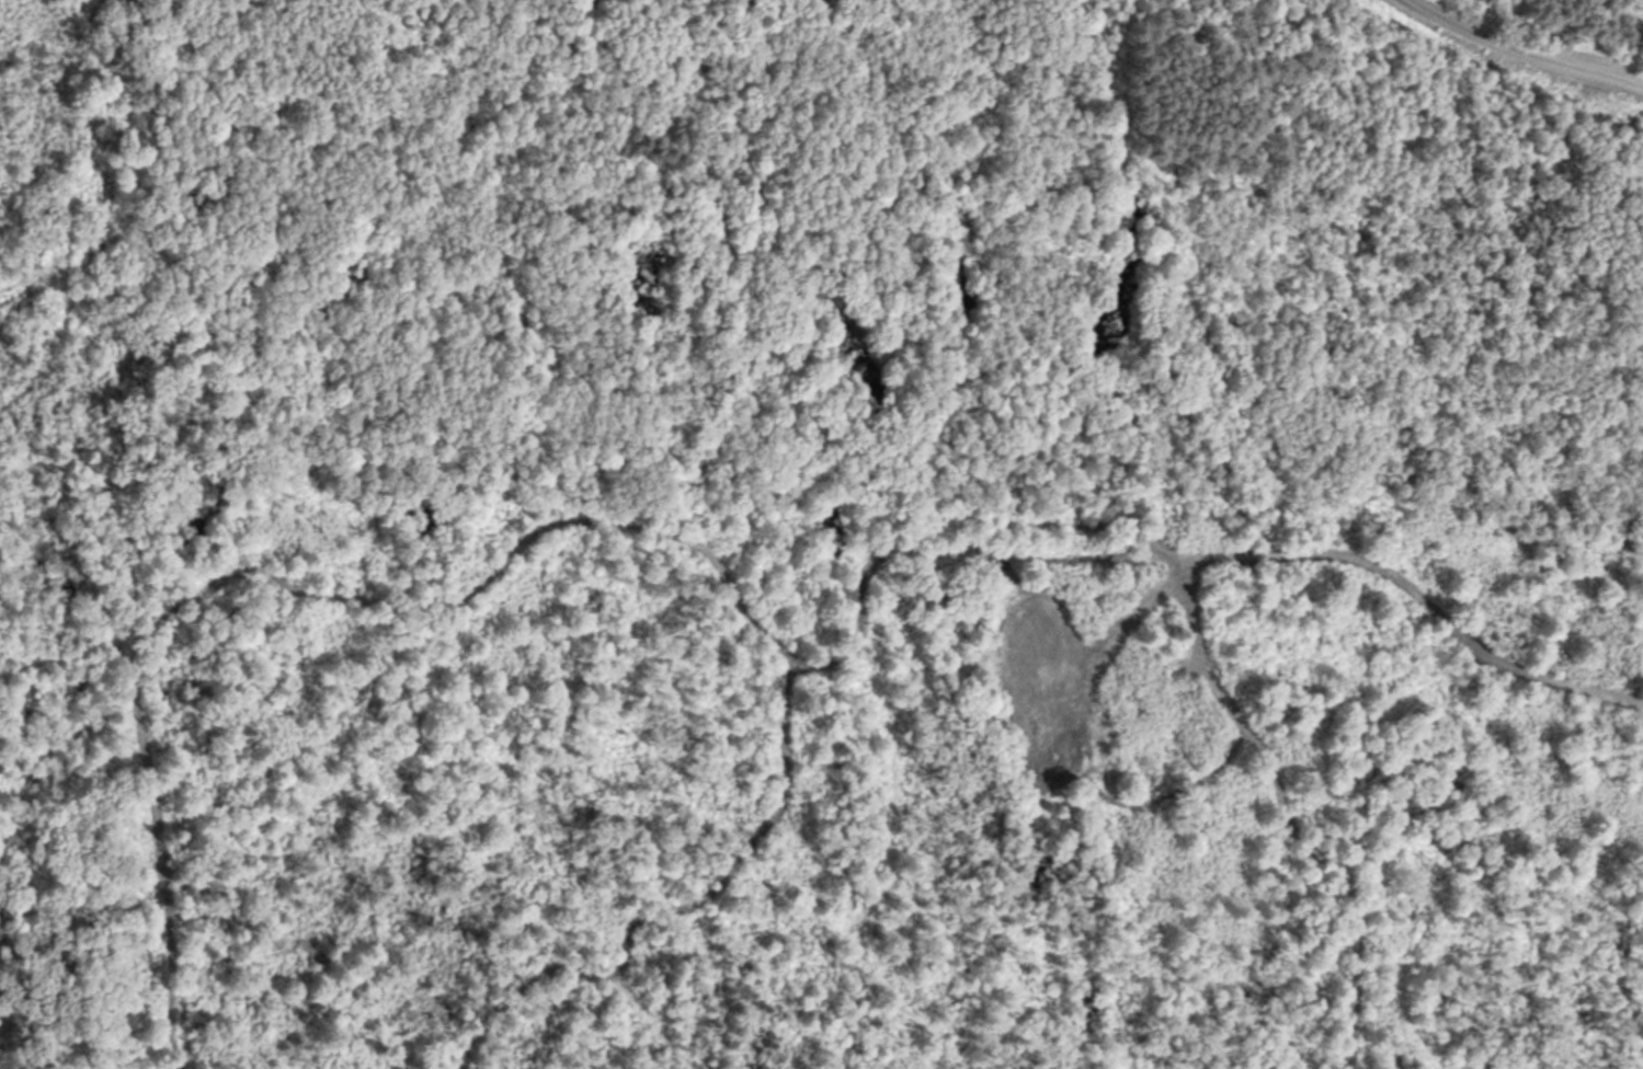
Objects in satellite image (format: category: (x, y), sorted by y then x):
road: (1547, 45)

